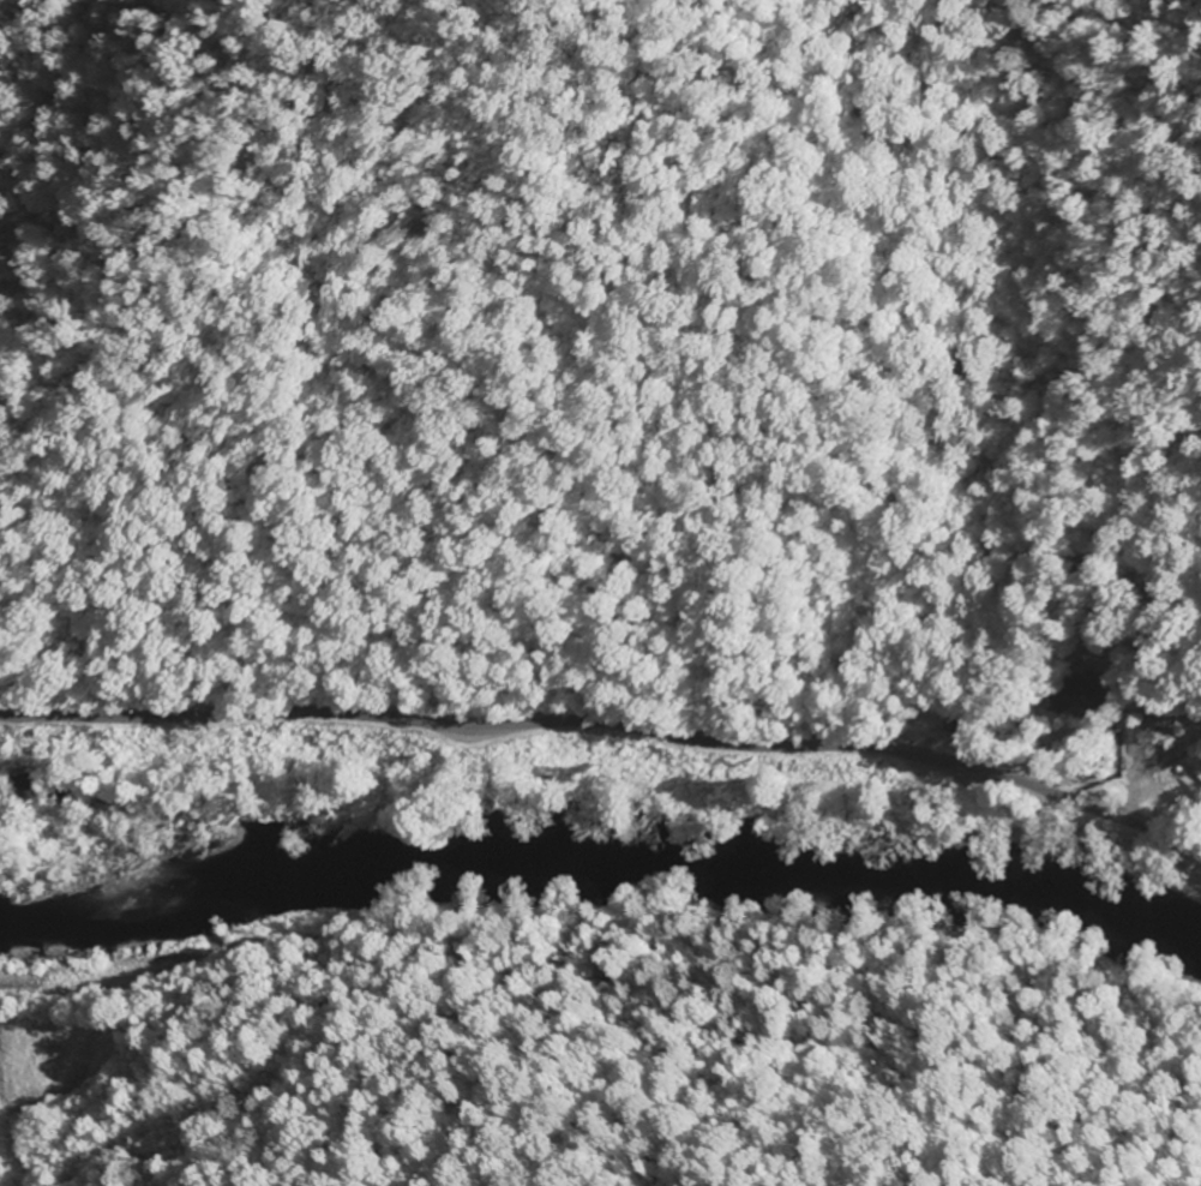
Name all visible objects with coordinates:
road: (1135, 690)
building: (1068, 696)
road: (605, 709)
river: (599, 825)

